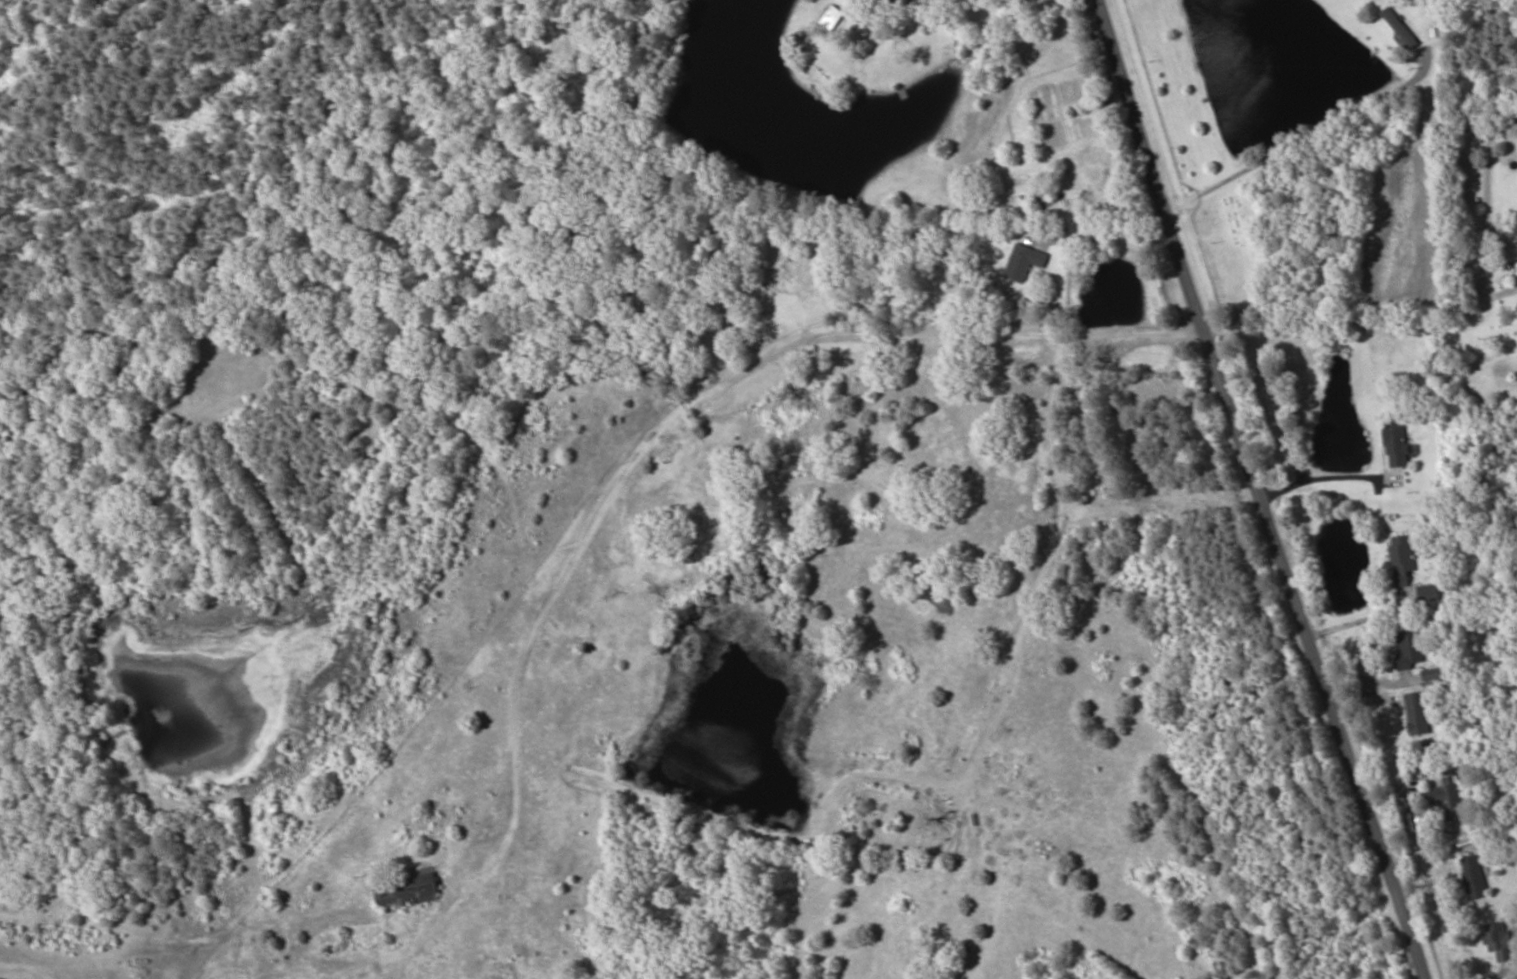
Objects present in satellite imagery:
building: (929, 0)
building: (831, 18)
building: (1024, 262)
road: (1360, 327)
road: (823, 349)
building: (1396, 444)
road: (1279, 486)
building: (1402, 560)
building: (1428, 593)
building: (1409, 649)
building: (1436, 674)
building: (1417, 713)
building: (1449, 800)
building: (1474, 877)
building: (406, 890)
building: (1498, 940)

